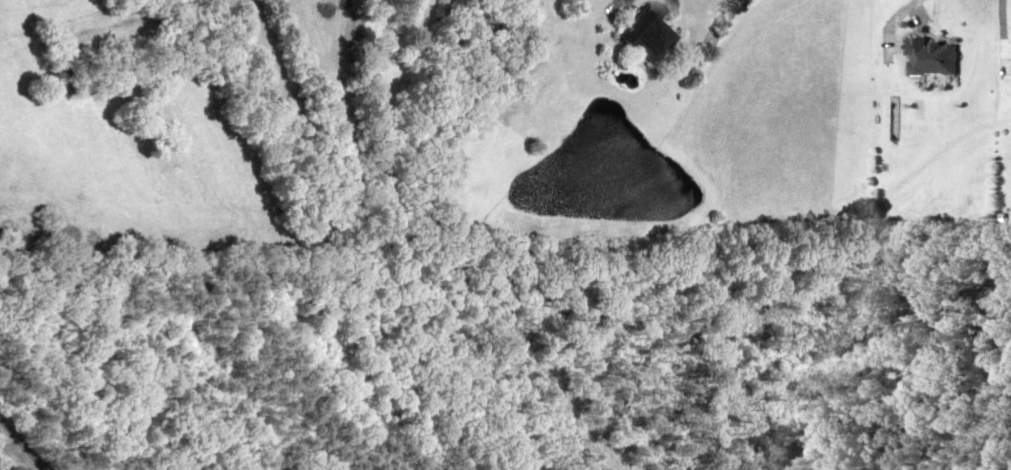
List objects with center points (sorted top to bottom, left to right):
building: (644, 34)
building: (931, 56)

